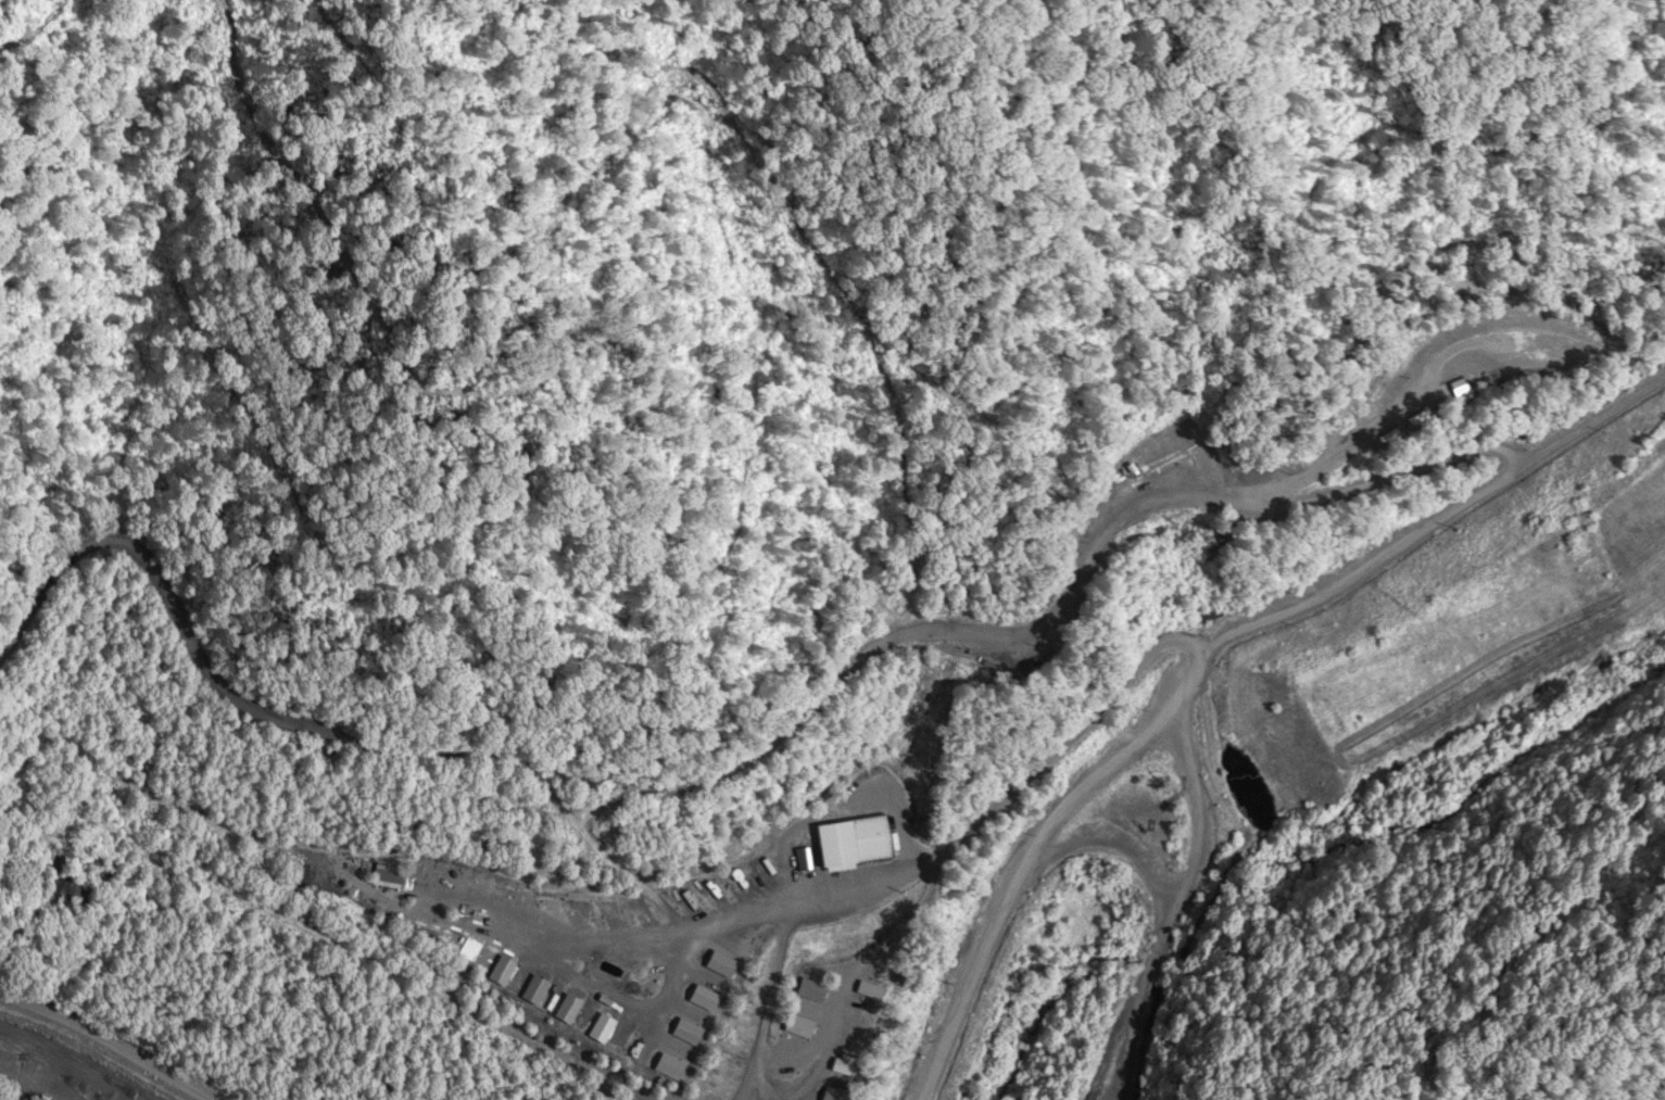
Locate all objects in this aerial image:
building: (859, 843)
road: (1148, 912)
road: (963, 1002)
road: (104, 1046)
railway: (88, 1051)

